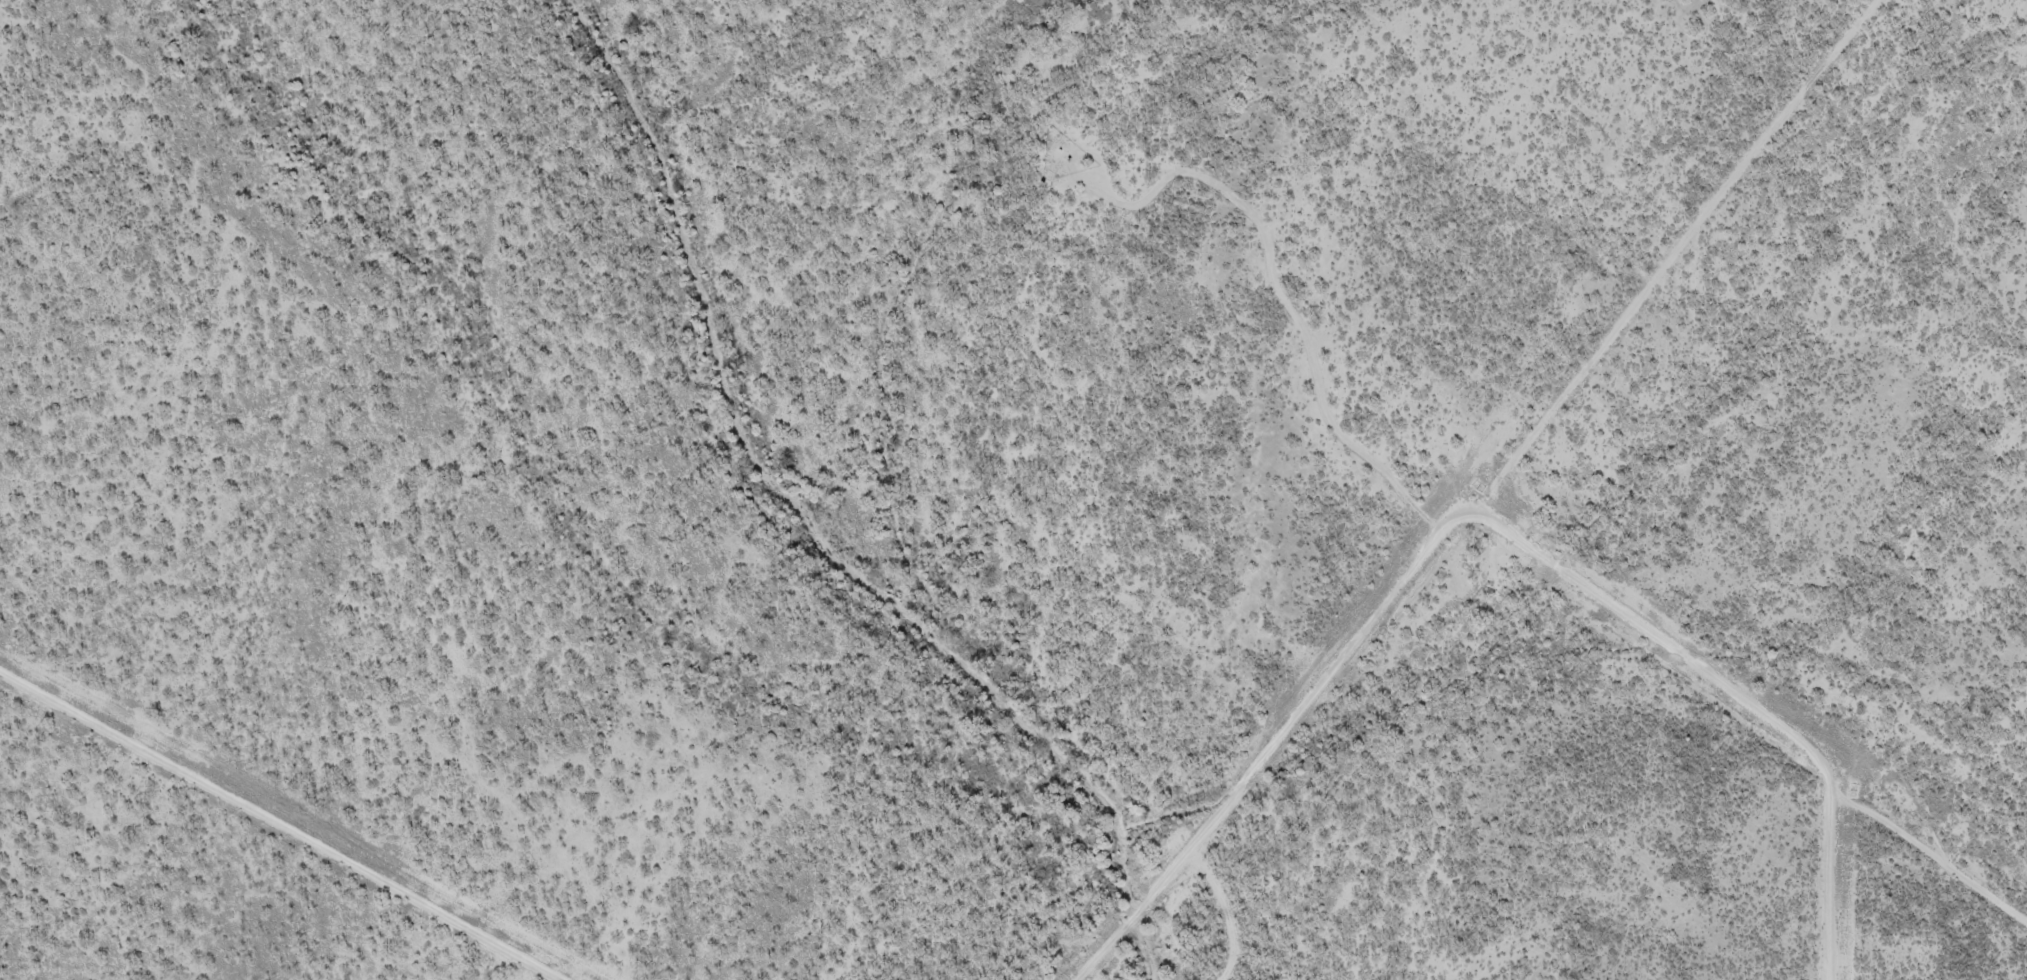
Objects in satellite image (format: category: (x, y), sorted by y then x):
road: (1485, 523)
road: (276, 828)

